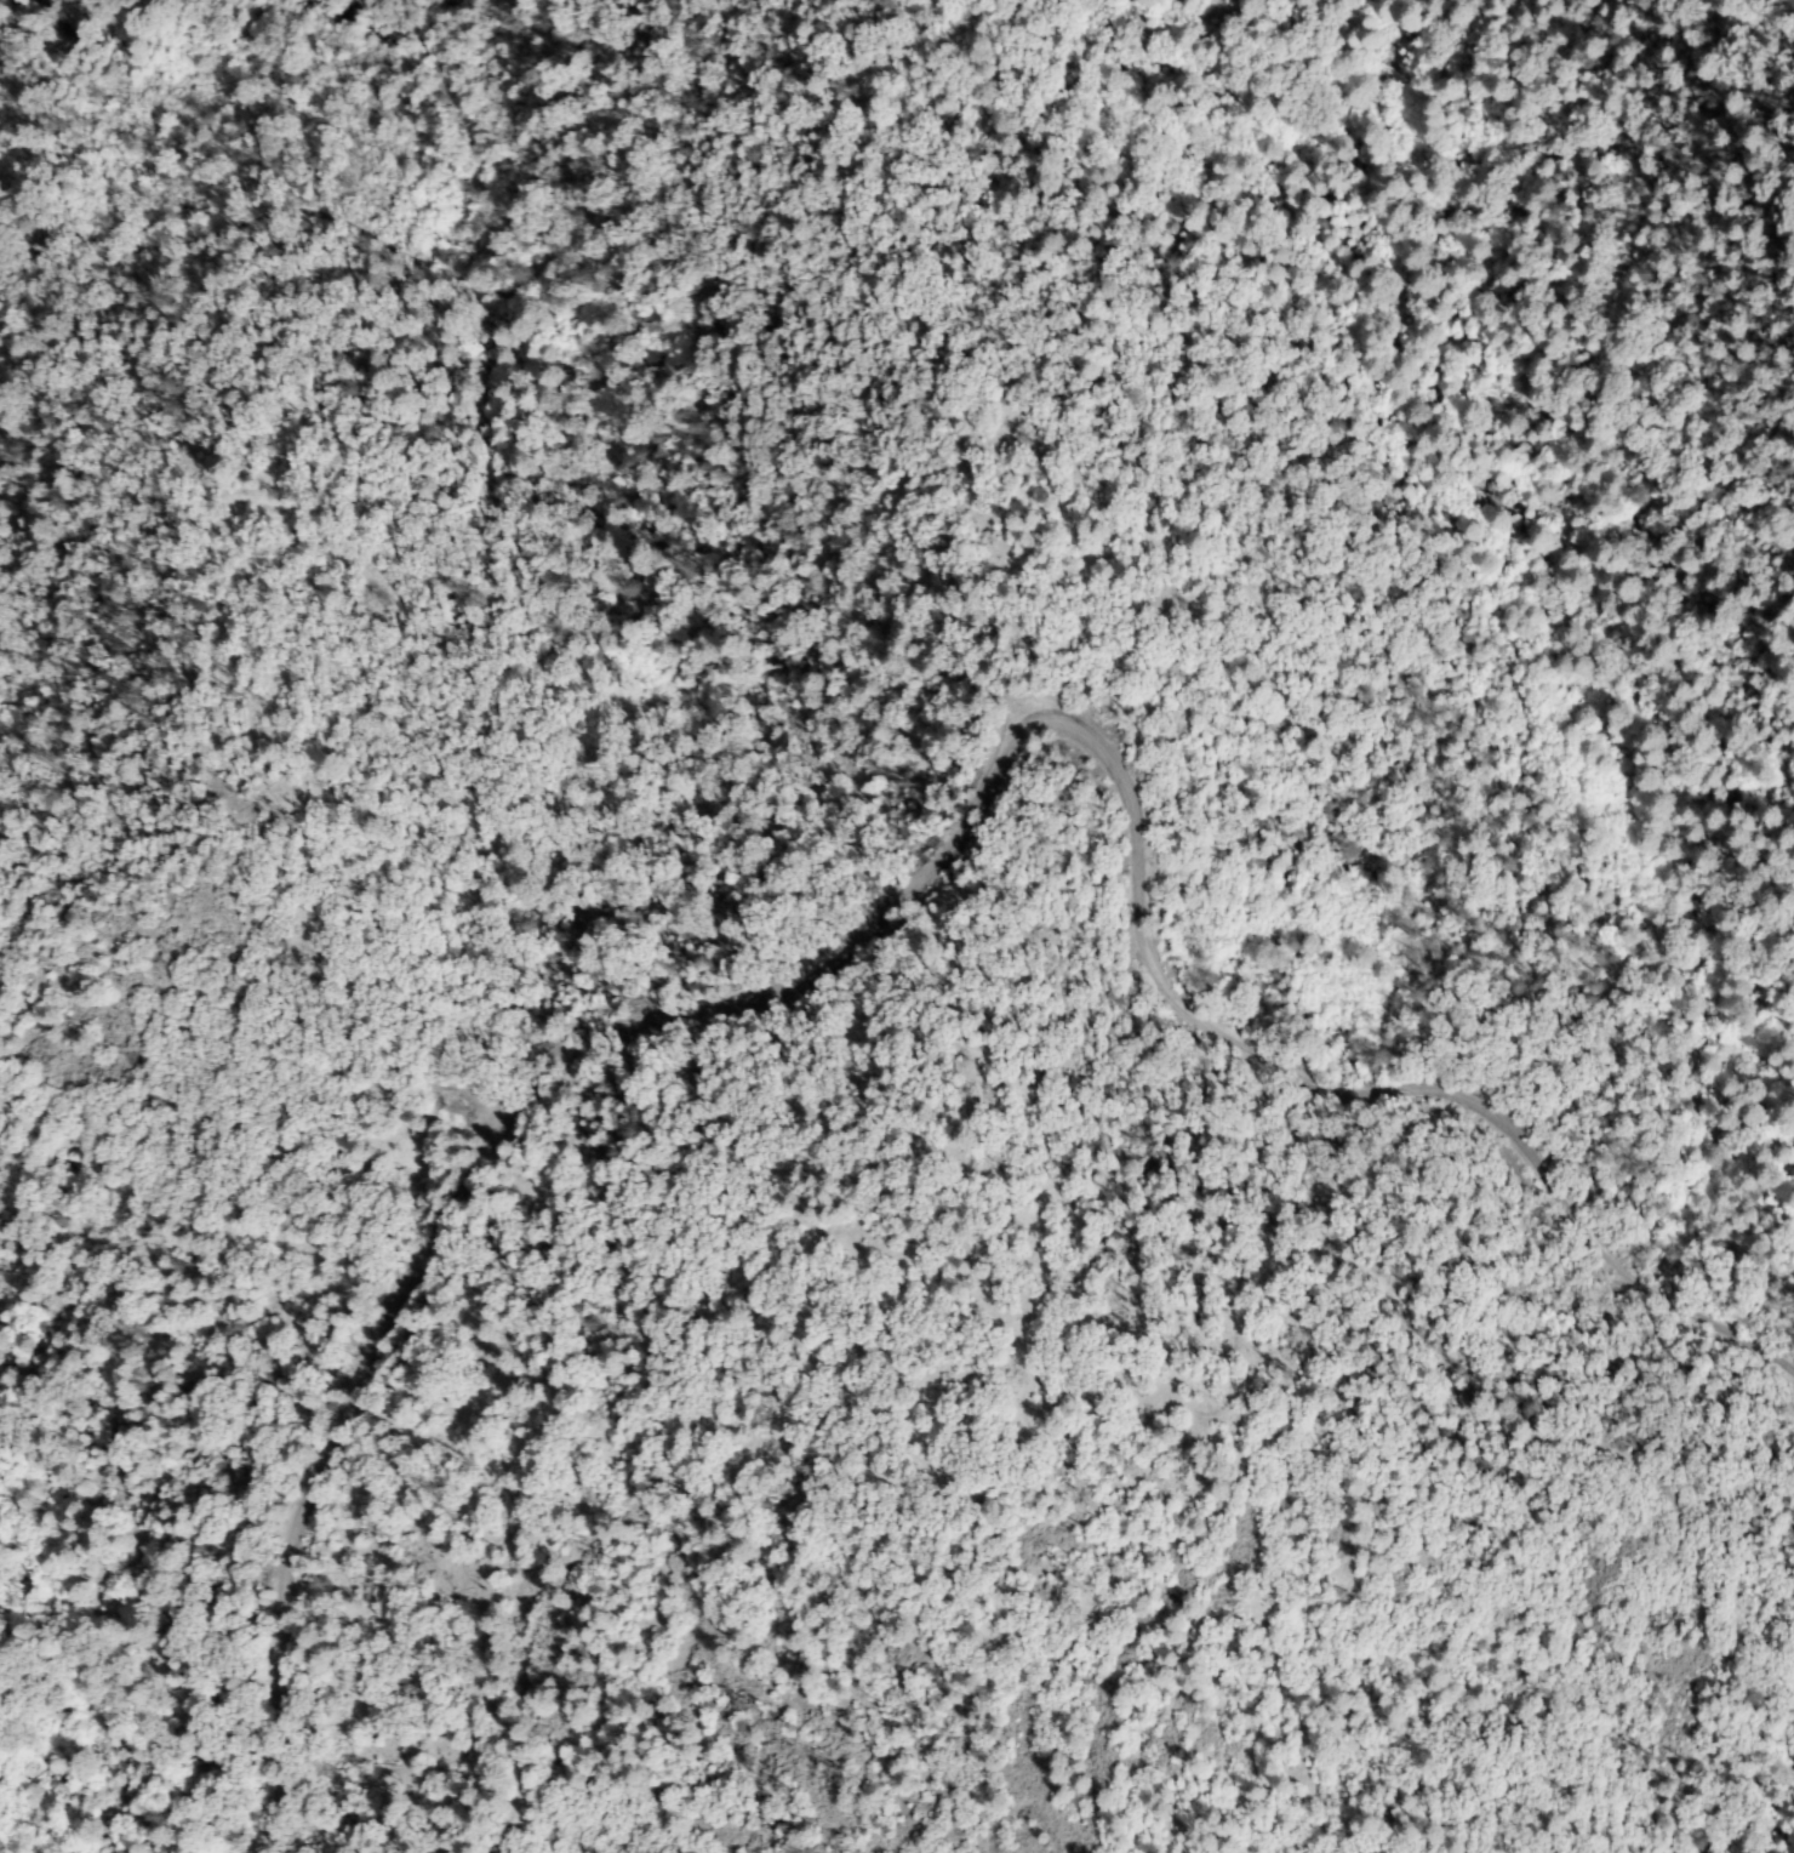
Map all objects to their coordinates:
road: (926, 850)

